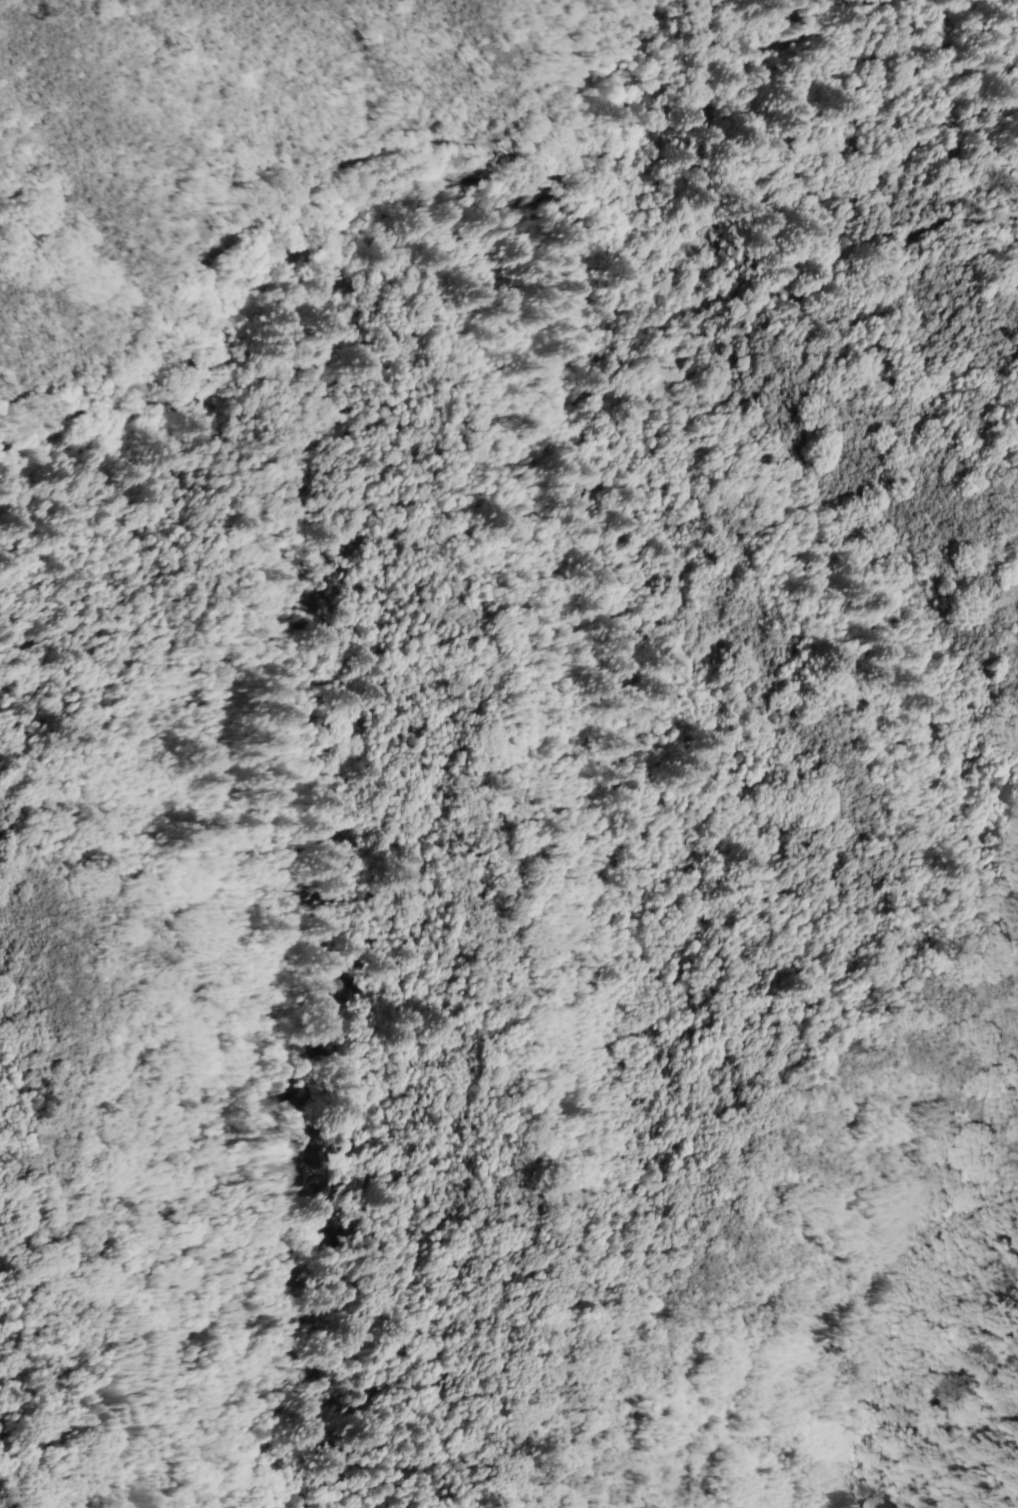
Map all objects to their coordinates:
road: (758, 10)
road: (743, 21)
road: (669, 41)
road: (660, 74)
road: (771, 89)
road: (629, 114)
water tower: (706, 120)
road: (327, 196)
road: (421, 198)
road: (795, 277)
road: (189, 368)
road: (203, 369)
road: (186, 381)
road: (103, 439)
road: (878, 702)
road: (625, 946)
road: (359, 1080)

